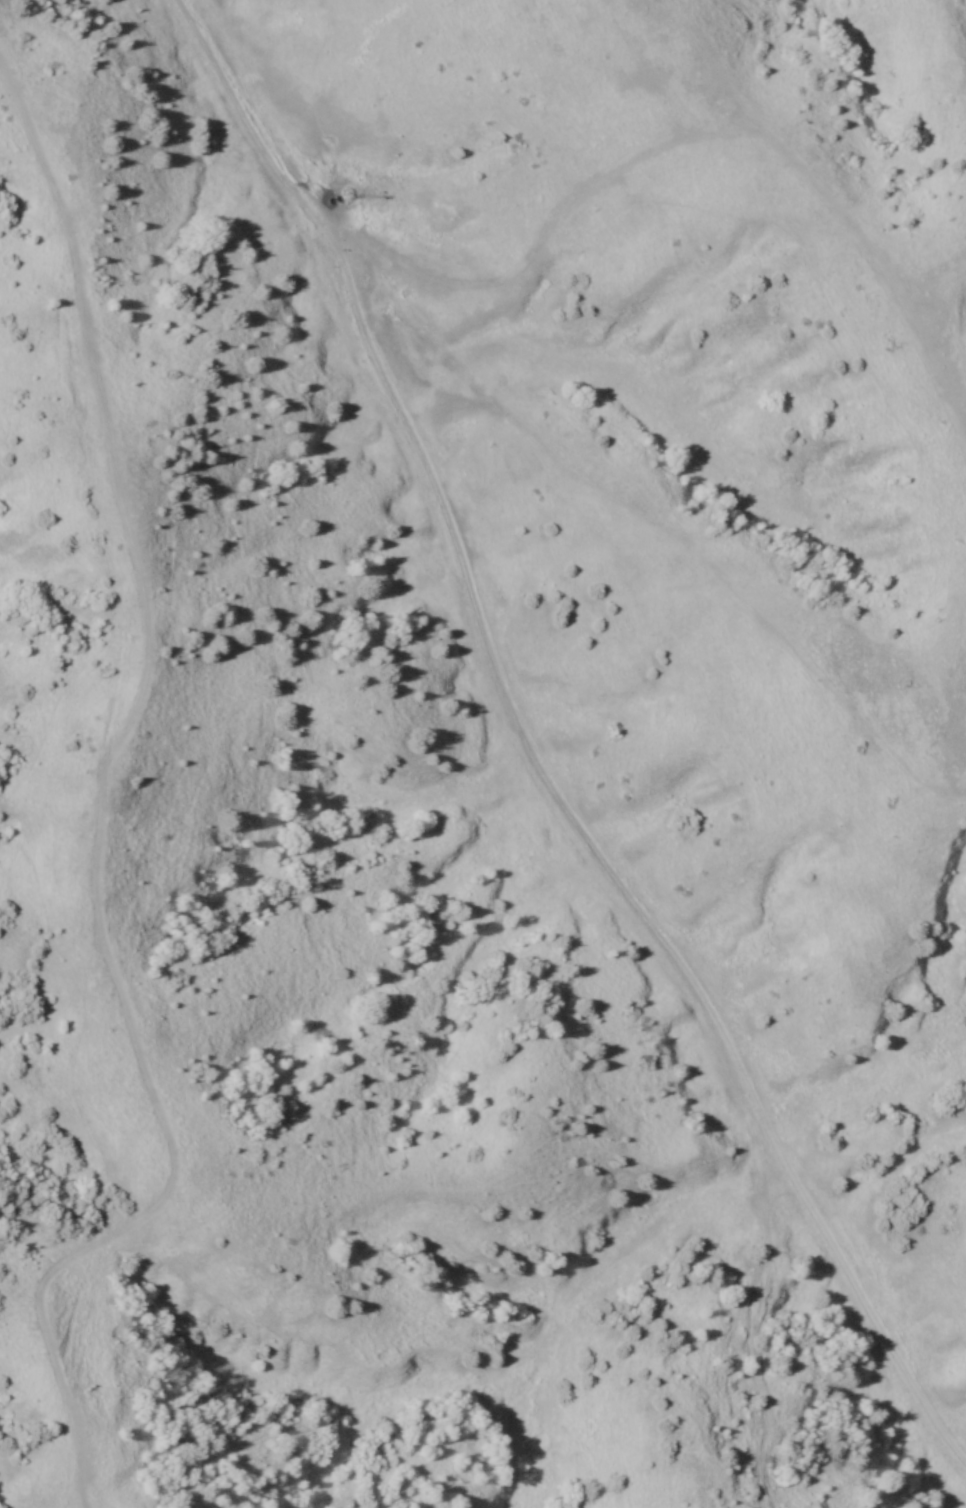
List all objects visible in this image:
road: (527, 758)

